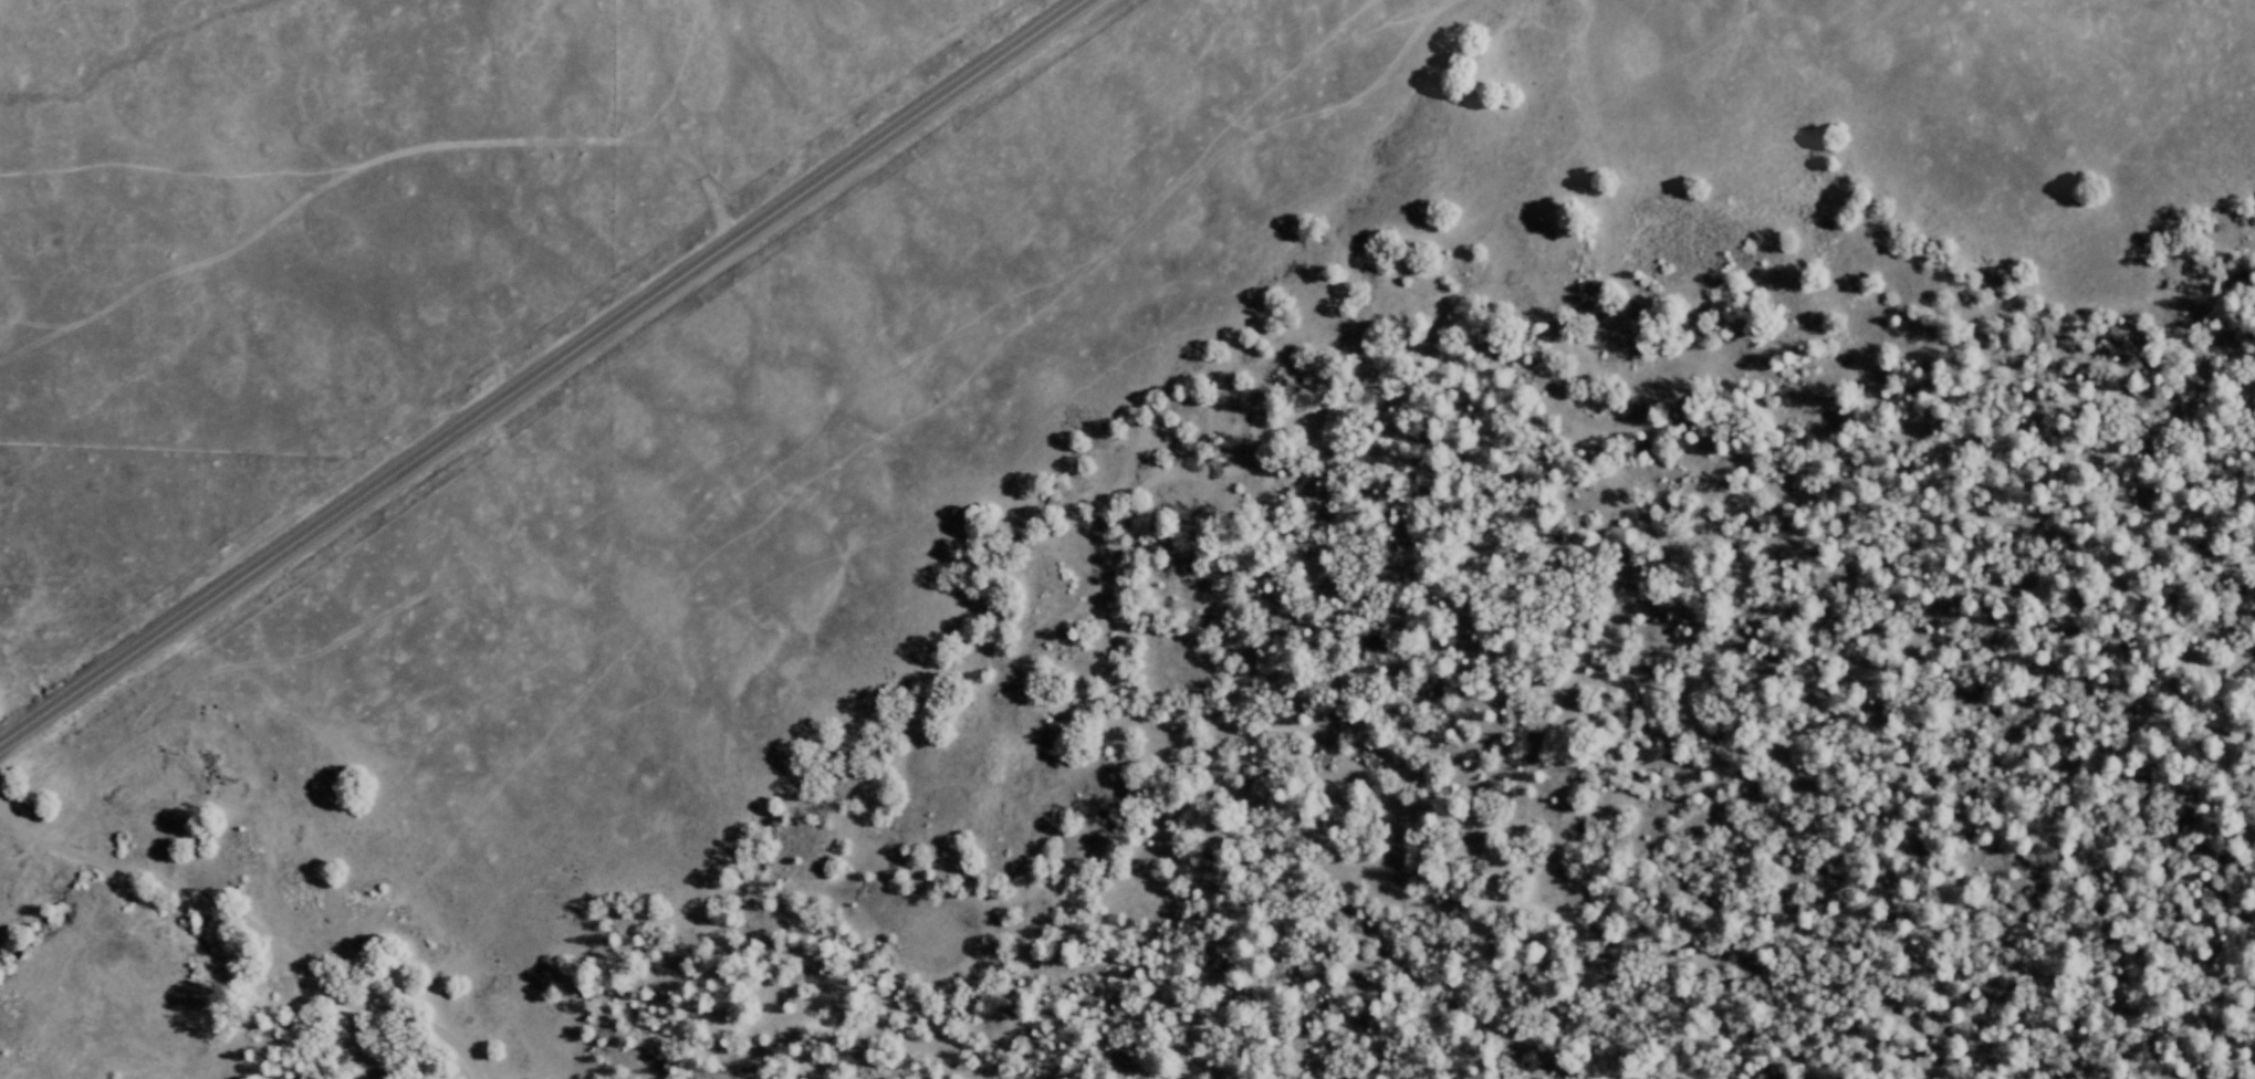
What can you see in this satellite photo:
road: (366, 161)
road: (536, 371)
road: (241, 922)

